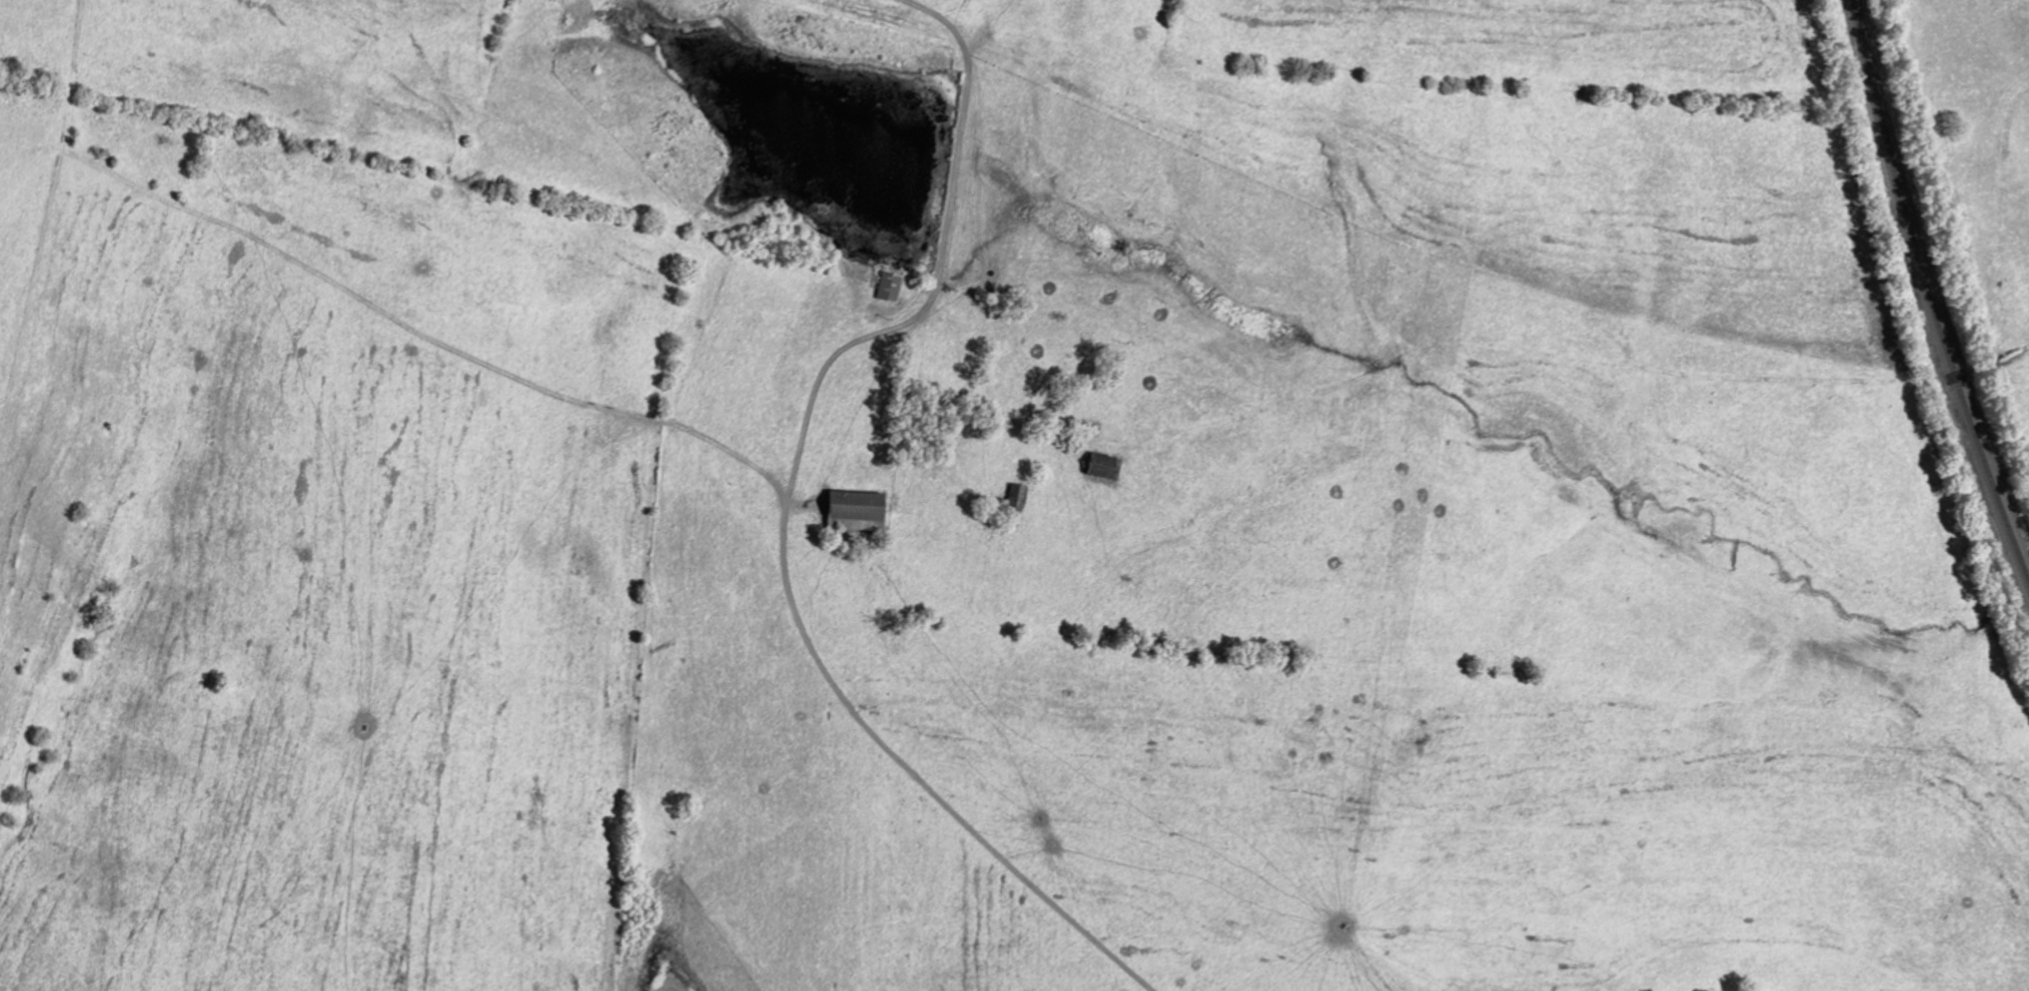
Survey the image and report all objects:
railway: (1933, 301)

